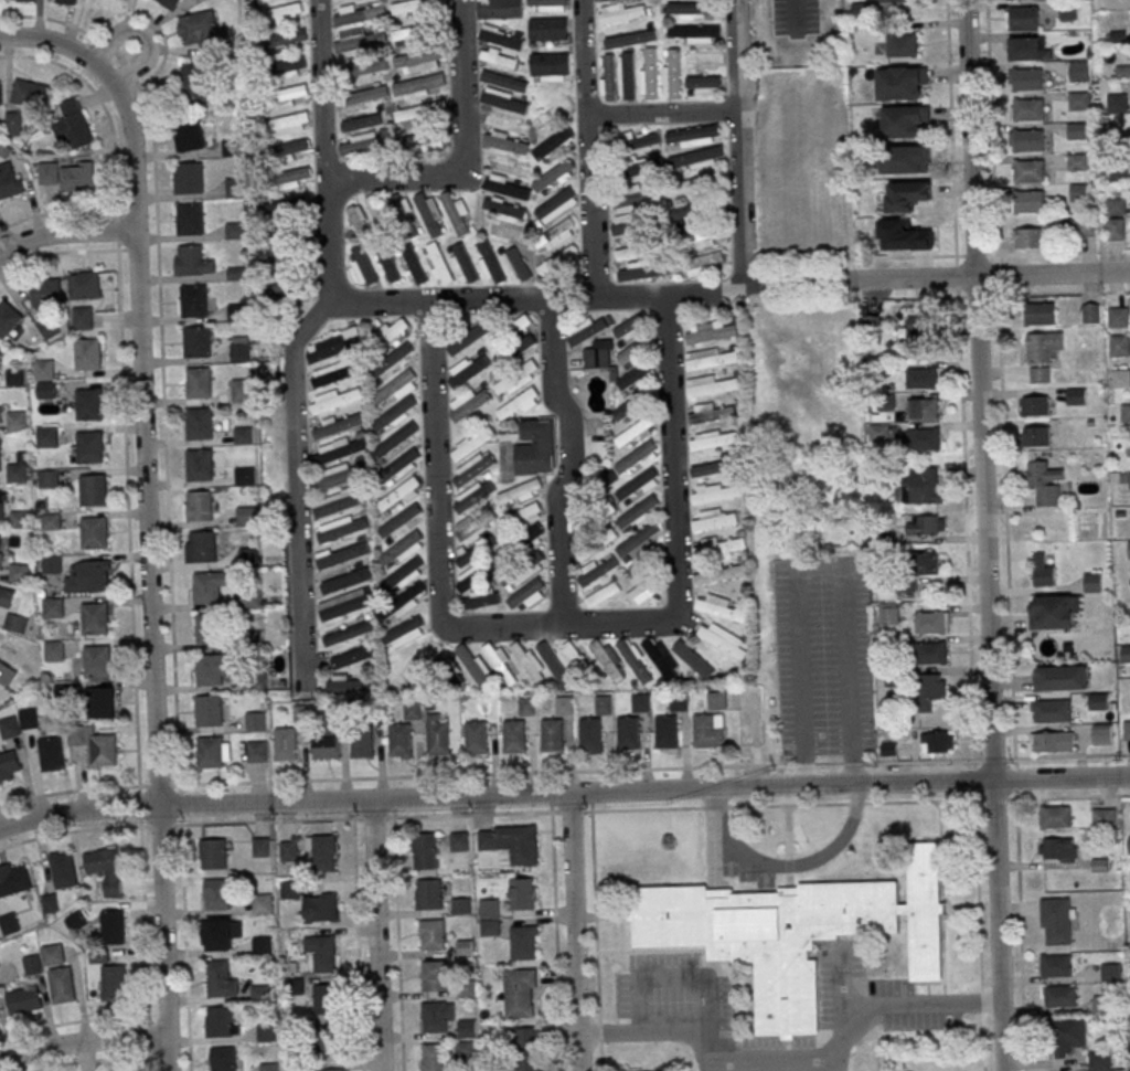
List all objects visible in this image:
building: (18, 0)
building: (896, 1)
building: (169, 3)
building: (550, 4)
building: (415, 7)
building: (499, 9)
building: (690, 10)
building: (622, 12)
building: (285, 13)
building: (360, 13)
road: (797, 13)
building: (1024, 15)
road: (14, 17)
building: (200, 29)
building: (547, 29)
building: (695, 32)
road: (145, 34)
building: (414, 36)
building: (501, 36)
building: (630, 39)
building: (287, 40)
building: (353, 40)
building: (902, 45)
building: (1026, 46)
road: (12, 56)
building: (707, 57)
building: (502, 60)
building: (356, 66)
building: (547, 66)
building: (291, 67)
building: (1080, 71)
building: (650, 73)
building: (672, 74)
building: (627, 75)
building: (609, 77)
building: (1028, 78)
building: (505, 82)
building: (902, 83)
building: (193, 84)
building: (707, 87)
road: (322, 88)
building: (0, 94)
building: (30, 94)
building: (289, 96)
building: (356, 96)
building: (1079, 99)
building: (510, 102)
building: (1117, 103)
building: (1028, 109)
building: (553, 110)
road: (664, 112)
building: (358, 120)
building: (905, 121)
building: (13, 123)
building: (73, 124)
road: (991, 127)
road: (950, 128)
building: (1077, 130)
building: (694, 135)
building: (189, 136)
building: (638, 139)
building: (1027, 139)
building: (423, 142)
road: (743, 142)
building: (365, 144)
building: (504, 145)
building: (233, 147)
building: (295, 148)
road: (588, 149)
building: (3, 151)
road: (462, 151)
building: (696, 158)
building: (1077, 161)
building: (507, 166)
building: (640, 167)
building: (1030, 170)
building: (1119, 173)
building: (67, 176)
building: (190, 177)
building: (295, 177)
building: (9, 180)
building: (696, 183)
building: (235, 185)
building: (508, 188)
building: (1079, 191)
building: (636, 194)
building: (906, 197)
building: (1028, 201)
building: (556, 205)
building: (1117, 205)
building: (504, 208)
building: (457, 213)
building: (690, 213)
building: (379, 214)
building: (404, 215)
building: (430, 215)
building: (191, 218)
building: (635, 218)
building: (360, 221)
building: (1086, 225)
building: (1116, 229)
building: (236, 230)
road: (66, 232)
building: (903, 235)
building: (1027, 238)
road: (327, 243)
building: (191, 258)
building: (558, 261)
building: (489, 262)
building: (704, 263)
building: (439, 264)
building: (462, 264)
building: (390, 265)
building: (415, 265)
building: (518, 265)
building: (237, 273)
road: (956, 275)
road: (884, 278)
building: (84, 285)
building: (285, 291)
building: (45, 293)
building: (194, 300)
road: (484, 304)
building: (237, 311)
building: (1089, 312)
building: (1038, 314)
building: (1117, 317)
building: (82, 318)
building: (8, 319)
building: (918, 320)
building: (516, 326)
building: (629, 327)
building: (47, 328)
building: (588, 330)
building: (393, 331)
building: (711, 331)
building: (469, 338)
building: (199, 341)
building: (331, 346)
building: (1119, 346)
building: (516, 350)
building: (241, 351)
building: (631, 352)
building: (89, 353)
building: (1041, 353)
road: (671, 356)
building: (597, 357)
building: (710, 359)
building: (393, 363)
building: (44, 370)
building: (469, 372)
building: (334, 373)
building: (14, 378)
building: (920, 378)
building: (1120, 378)
building: (516, 379)
building: (200, 382)
building: (712, 386)
building: (396, 389)
building: (46, 390)
building: (242, 392)
building: (1075, 395)
building: (335, 400)
building: (89, 404)
building: (468, 404)
building: (519, 405)
building: (1034, 405)
building: (923, 409)
building: (714, 413)
building: (1124, 413)
building: (395, 415)
building: (17, 421)
building: (201, 422)
building: (338, 425)
building: (878, 432)
building: (636, 433)
building: (244, 434)
building: (1034, 435)
building: (47, 437)
building: (715, 438)
building: (919, 439)
building: (395, 443)
building: (472, 443)
building: (92, 446)
building: (1128, 446)
building: (342, 447)
building: (535, 447)
road: (437, 452)
building: (0, 454)
building: (636, 458)
road: (571, 463)
building: (201, 465)
building: (707, 467)
building: (397, 468)
building: (472, 468)
building: (18, 473)
building: (341, 474)
building: (245, 475)
building: (607, 476)
building: (49, 479)
building: (1129, 480)
building: (1045, 484)
building: (919, 487)
building: (95, 489)
building: (520, 492)
building: (715, 492)
road: (297, 495)
building: (398, 496)
building: (470, 497)
building: (339, 502)
building: (1, 503)
building: (201, 506)
road: (675, 506)
road: (149, 511)
building: (638, 513)
building: (247, 516)
building: (521, 517)
building: (20, 519)
building: (595, 519)
building: (713, 520)
building: (51, 521)
building: (923, 524)
building: (468, 527)
building: (342, 528)
building: (96, 531)
road: (985, 534)
building: (639, 541)
building: (204, 544)
building: (596, 544)
building: (719, 545)
building: (402, 550)
building: (476, 550)
building: (1128, 550)
building: (1, 551)
building: (249, 555)
building: (500, 558)
road: (1008, 563)
building: (51, 564)
road: (818, 564)
building: (639, 566)
building: (599, 568)
building: (916, 570)
building: (523, 571)
building: (19, 572)
building: (1043, 572)
building: (94, 573)
building: (406, 573)
building: (718, 574)
building: (345, 579)
building: (1091, 582)
road: (131, 585)
building: (207, 587)
building: (642, 592)
building: (604, 594)
building: (527, 595)
building: (6, 597)
building: (250, 598)
building: (407, 600)
building: (480, 600)
building: (344, 604)
building: (53, 608)
building: (718, 608)
building: (1053, 612)
building: (888, 614)
building: (96, 618)
building: (930, 622)
building: (15, 623)
road: (558, 625)
building: (209, 627)
building: (349, 633)
building: (404, 634)
building: (252, 638)
building: (723, 639)
building: (54, 651)
building: (931, 653)
building: (575, 654)
building: (352, 656)
building: (631, 656)
building: (661, 658)
building: (98, 660)
building: (609, 660)
building: (500, 662)
building: (529, 662)
building: (557, 662)
building: (210, 669)
building: (409, 669)
building: (447, 670)
building: (6, 674)
building: (1059, 678)
building: (254, 680)
building: (350, 683)
building: (64, 690)
building: (930, 690)
building: (679, 700)
building: (717, 700)
building: (1097, 701)
building: (102, 702)
building: (641, 702)
building: (565, 704)
building: (604, 704)
building: (527, 706)
building: (210, 710)
building: (414, 710)
building: (1049, 710)
building: (301, 713)
building: (338, 713)
building: (29, 719)
building: (256, 720)
building: (9, 728)
building: (704, 729)
building: (667, 730)
building: (629, 731)
building: (590, 733)
building: (553, 734)
building: (1101, 734)
building: (438, 735)
building: (514, 735)
building: (477, 736)
building: (362, 740)
building: (401, 740)
building: (936, 742)
building: (1052, 742)
building: (286, 743)
building: (327, 747)
building: (105, 750)
building: (211, 751)
building: (257, 753)
building: (51, 754)
road: (845, 763)
building: (9, 766)
road: (563, 793)
road: (1073, 796)
building: (1054, 817)
building: (1106, 817)
road: (257, 821)
road: (68, 831)
building: (508, 841)
building: (1128, 845)
building: (260, 847)
building: (1056, 849)
building: (288, 850)
building: (424, 851)
building: (322, 852)
building: (213, 853)
building: (1100, 861)
road: (786, 867)
building: (63, 870)
building: (106, 870)
building: (14, 880)
building: (289, 890)
building: (522, 893)
building: (216, 894)
building: (428, 894)
building: (262, 902)
building: (461, 906)
building: (319, 908)
building: (489, 918)
building: (75, 921)
building: (1056, 921)
building: (9, 923)
building: (113, 927)
road: (184, 927)
road: (573, 931)
building: (793, 931)
building: (218, 934)
road: (379, 934)
building: (433, 934)
road: (1021, 934)
building: (523, 943)
road: (358, 944)
road: (398, 944)
building: (260, 945)
building: (322, 952)
building: (53, 954)
building: (32, 965)
building: (1055, 966)
building: (1109, 973)
building: (434, 975)
building: (222, 979)
building: (115, 983)
building: (61, 985)
building: (520, 993)
building: (1058, 996)
building: (23, 1000)
building: (324, 1000)
road: (941, 1003)
parking lot: (897, 1004)
building: (437, 1017)
building: (222, 1021)
building: (467, 1029)
road: (651, 1031)
building: (266, 1032)
building: (1067, 1036)
building: (331, 1041)
road: (83, 1042)
building: (526, 1049)
building: (463, 1051)
building: (433, 1057)
building: (223, 1059)
building: (1098, 1061)
road: (799, 1064)
building: (269, 1067)
building: (330, 1070)

